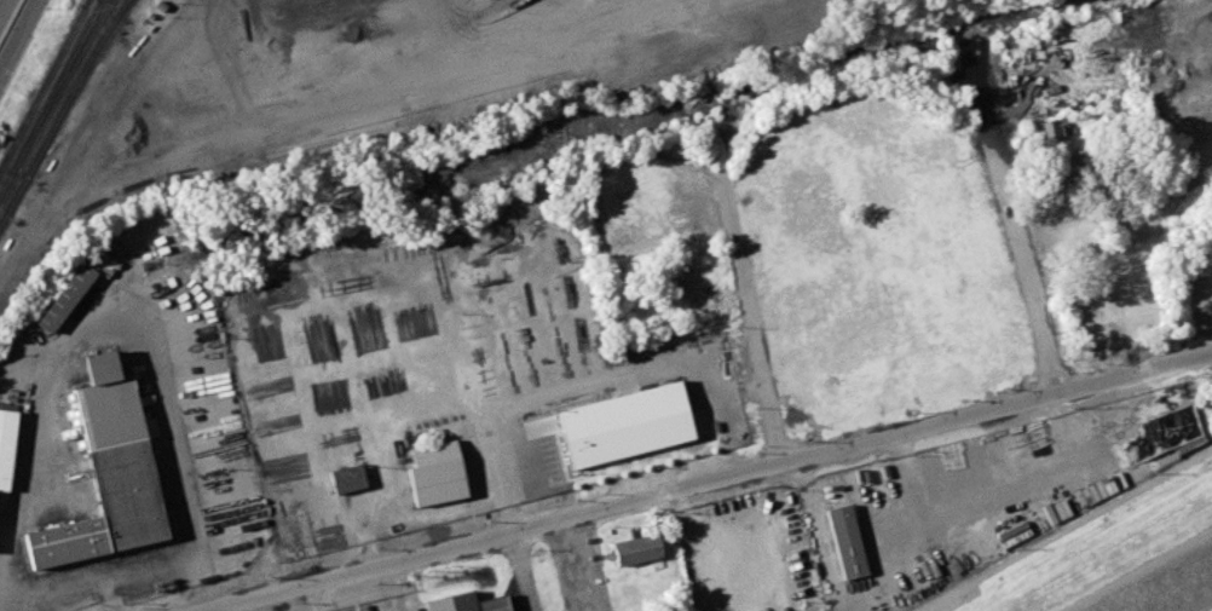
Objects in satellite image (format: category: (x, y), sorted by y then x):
railway: (102, 0)
railway: (86, 4)
road: (4, 7)
road: (440, 28)
road: (16, 33)
road: (507, 41)
railway: (64, 83)
railway: (44, 85)
railway: (51, 97)
railway: (63, 111)
building: (1054, 129)
road: (1017, 242)
building: (65, 296)
road: (58, 350)
road: (27, 355)
road: (1000, 408)
building: (623, 423)
road: (781, 437)
building: (5, 444)
building: (552, 456)
building: (434, 472)
building: (106, 473)
building: (346, 478)
road: (192, 532)
road: (494, 536)
building: (847, 541)
building: (637, 551)
road: (573, 560)
parking lot: (577, 570)
road: (520, 571)
road: (1143, 572)
road: (404, 586)
road: (313, 596)
building: (462, 601)
road: (318, 610)

